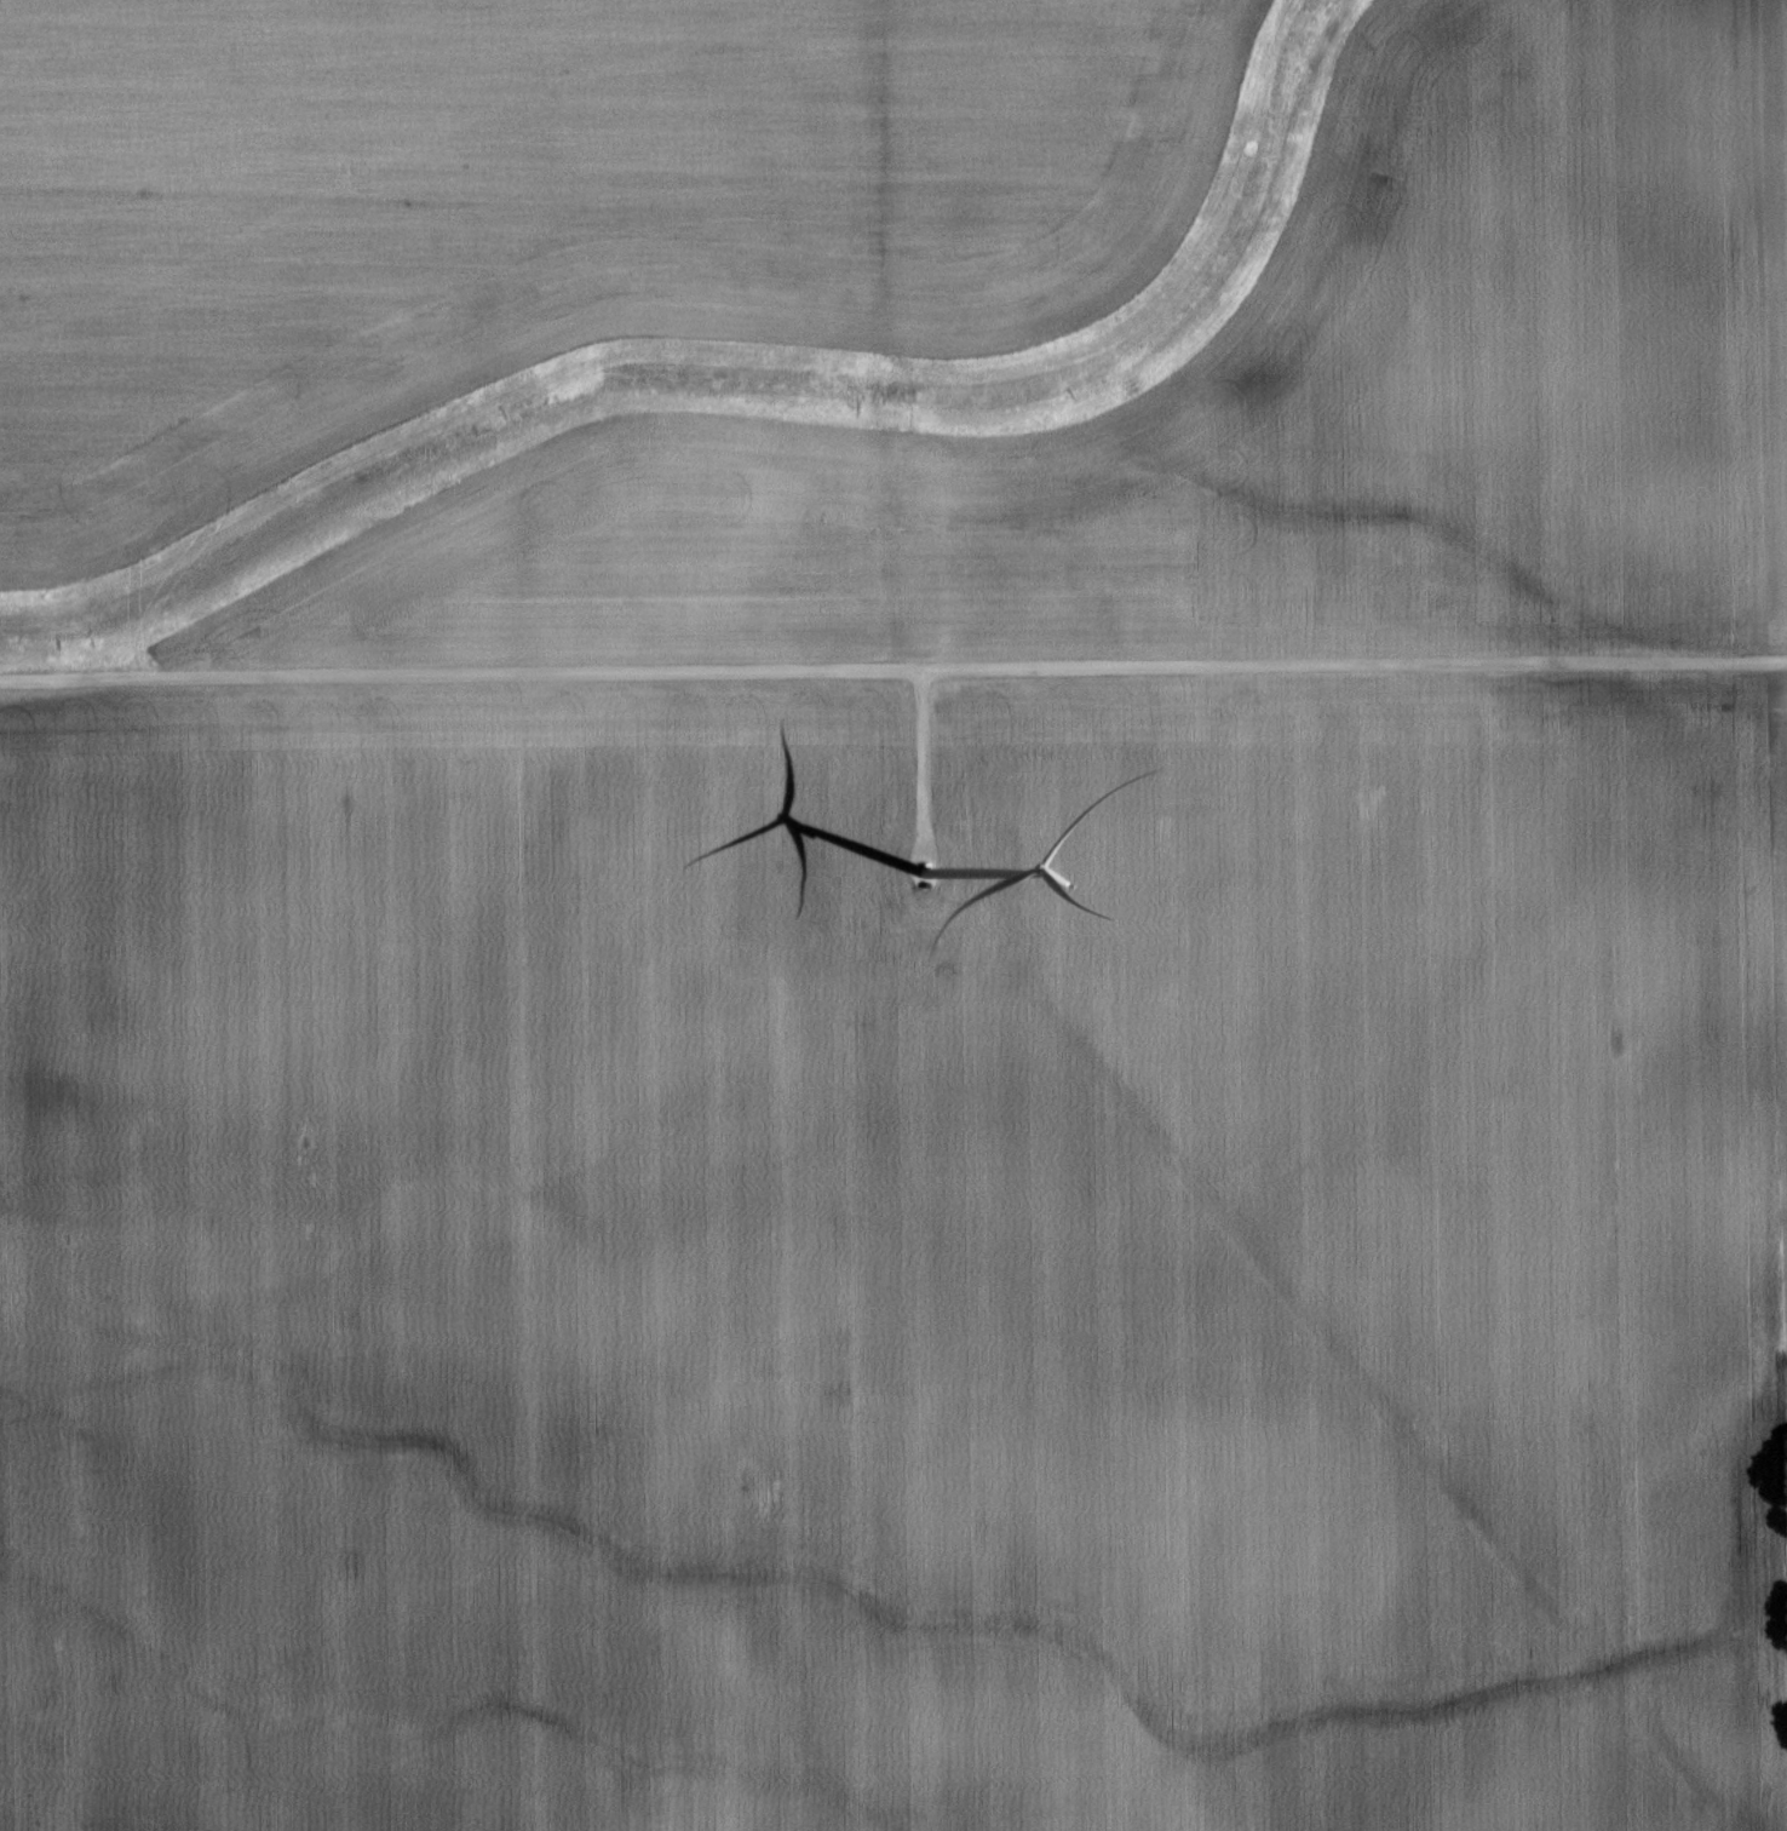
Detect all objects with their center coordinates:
road: (893, 671)
road: (925, 763)
wind turbine: (917, 900)

